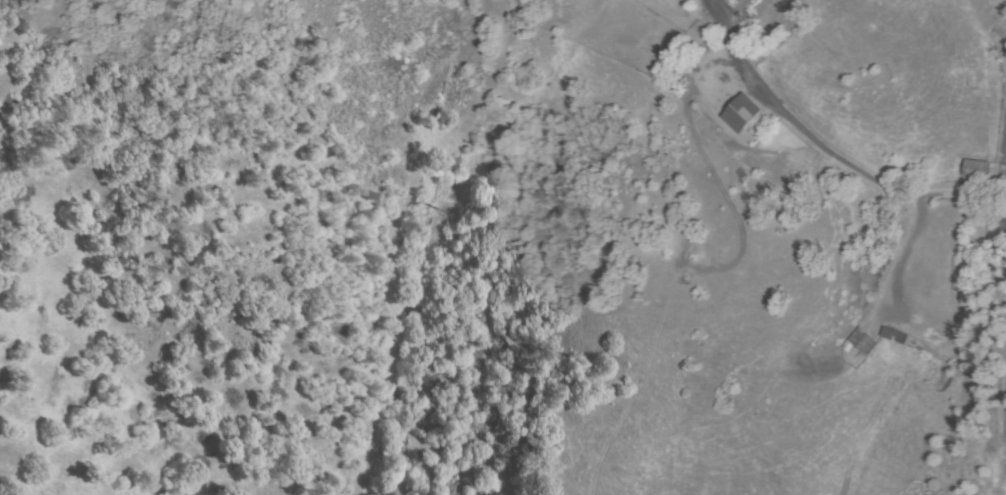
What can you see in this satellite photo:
building: (736, 0)
building: (741, 113)
building: (977, 169)
building: (1002, 220)
building: (889, 335)
building: (859, 343)
road: (1002, 389)

